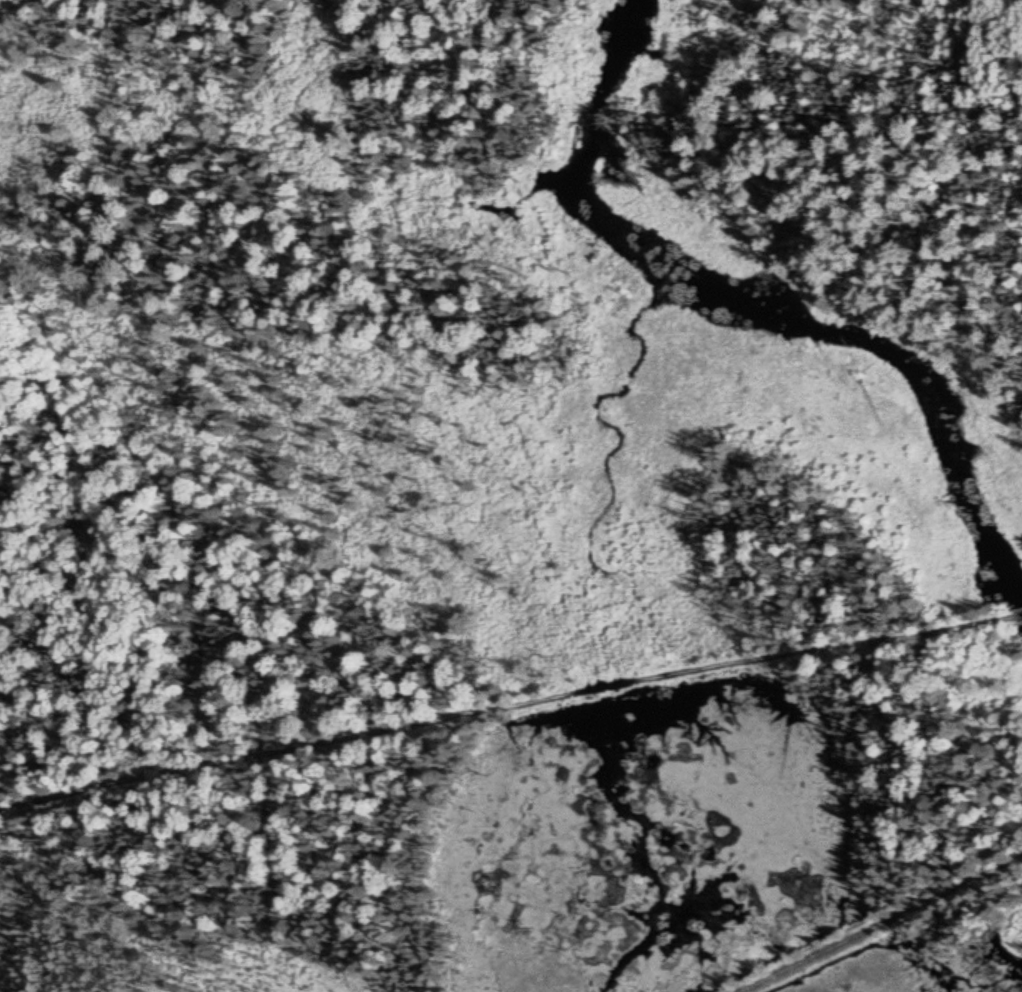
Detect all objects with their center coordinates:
river: (582, 152)
river: (911, 370)
road: (1011, 618)
road: (498, 709)
railway: (884, 928)

